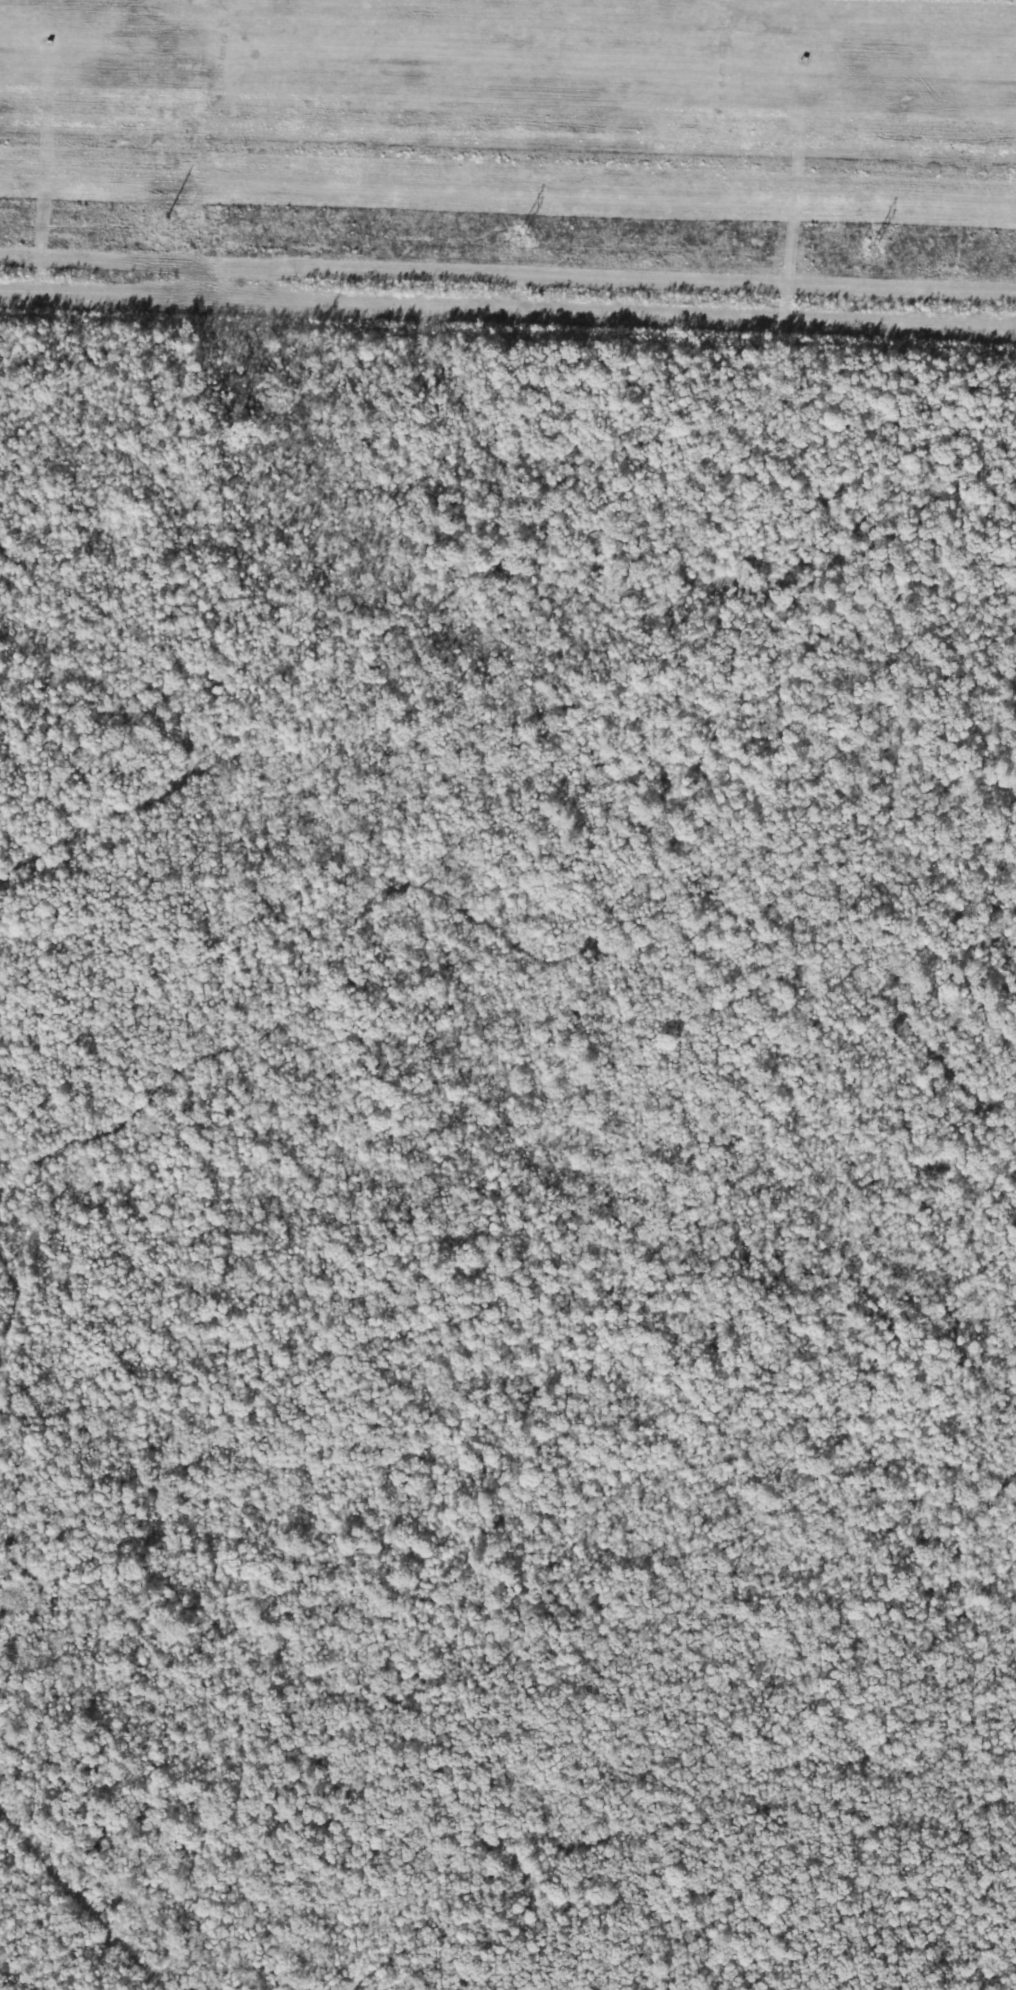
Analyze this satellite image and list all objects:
road: (79, 1908)

